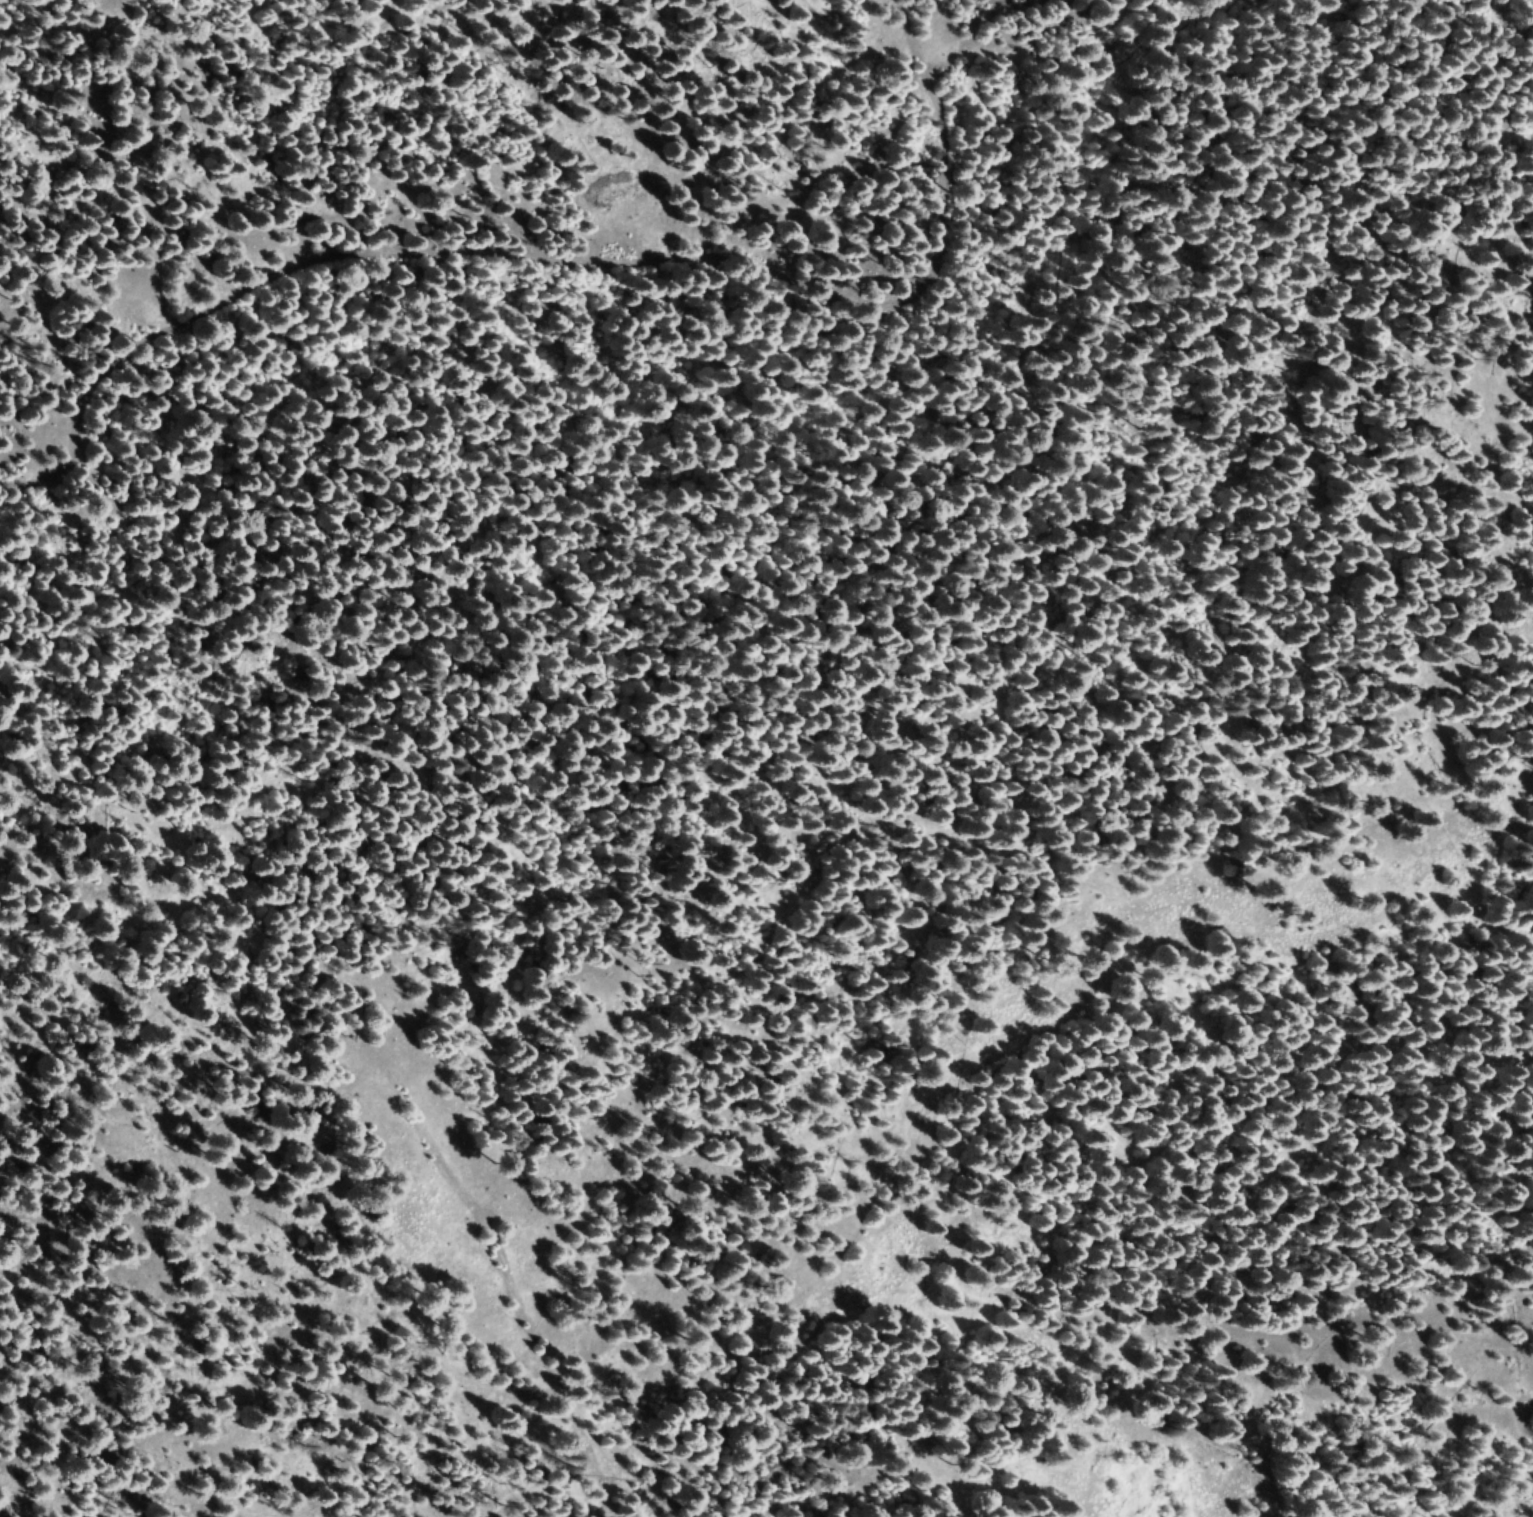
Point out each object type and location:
road: (565, 256)
road: (1511, 1497)

